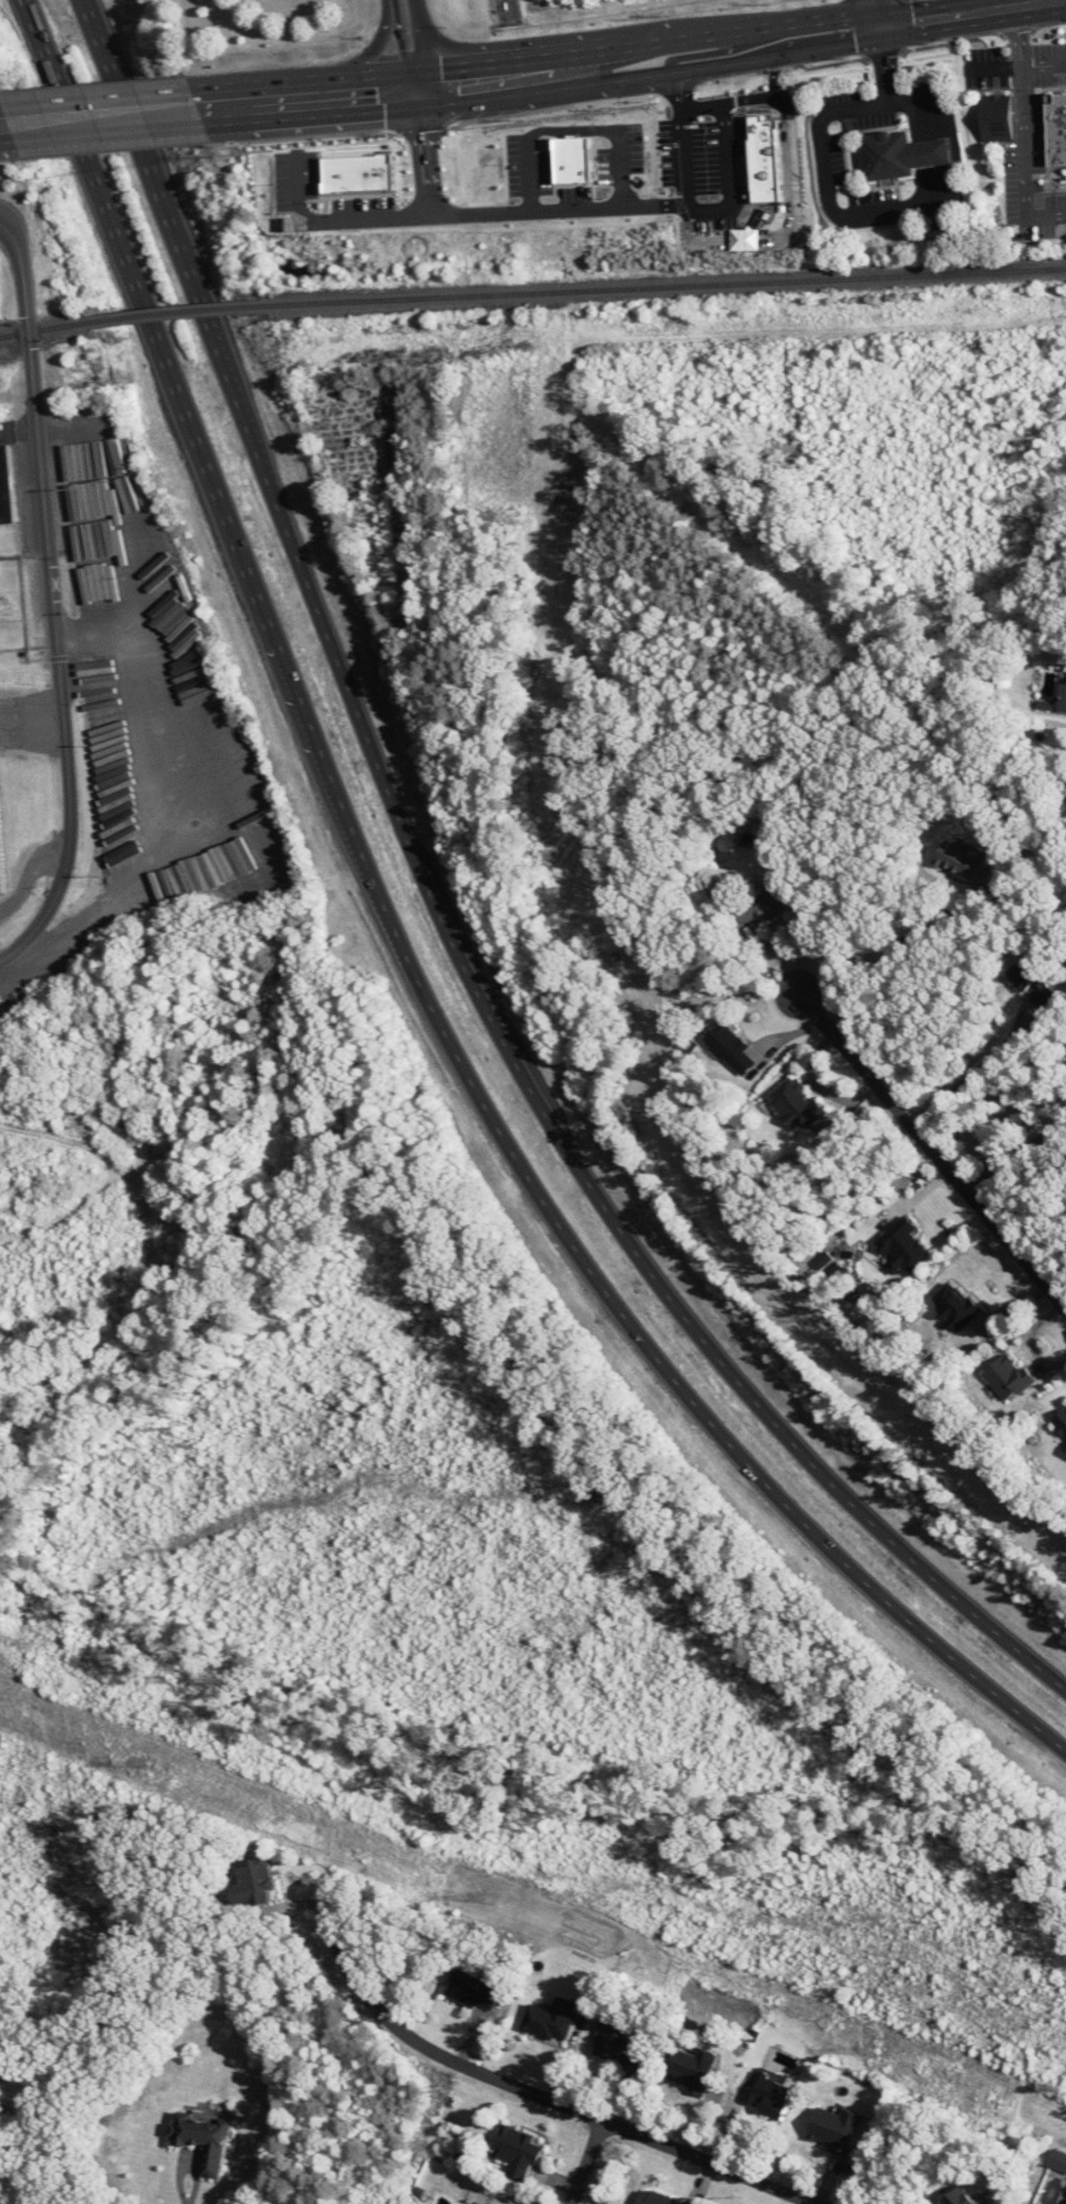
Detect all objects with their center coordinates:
road: (87, 3)
road: (879, 13)
road: (27, 23)
traffic signals: (883, 26)
road: (1018, 35)
road: (431, 44)
road: (400, 46)
road: (359, 61)
road: (632, 61)
road: (1043, 63)
road: (886, 64)
road: (995, 66)
road: (775, 72)
traffic signals: (407, 92)
building: (995, 116)
road: (106, 119)
road: (5, 126)
building: (1055, 128)
building: (886, 155)
road: (1024, 158)
building: (152, 161)
building: (89, 167)
building: (358, 177)
road: (572, 209)
road: (869, 213)
road: (337, 221)
railway: (665, 287)
railway: (175, 312)
railway: (42, 331)
building: (8, 489)
road: (80, 527)
road: (54, 600)
building: (1063, 700)
road: (176, 819)
building: (263, 827)
building: (4, 839)
building: (960, 859)
building: (764, 906)
road: (445, 924)
road: (898, 940)
road: (411, 961)
building: (1031, 980)
building: (730, 1047)
road: (975, 1069)
building: (795, 1103)
road: (931, 1152)
road: (1017, 1153)
building: (904, 1246)
building: (954, 1306)
building: (1006, 1377)
building: (1061, 1421)
building: (1064, 1447)
power tower: (144, 1763)
building: (254, 1883)
power tower: (485, 1895)
building: (475, 1988)
building: (550, 2020)
building: (616, 2046)
power tower: (873, 2049)
building: (691, 2070)
road: (519, 2089)
building: (766, 2094)
building: (833, 2128)
building: (202, 2139)
building: (517, 2151)
building: (1057, 2160)
road: (586, 2162)
road: (189, 2169)
building: (653, 2199)

